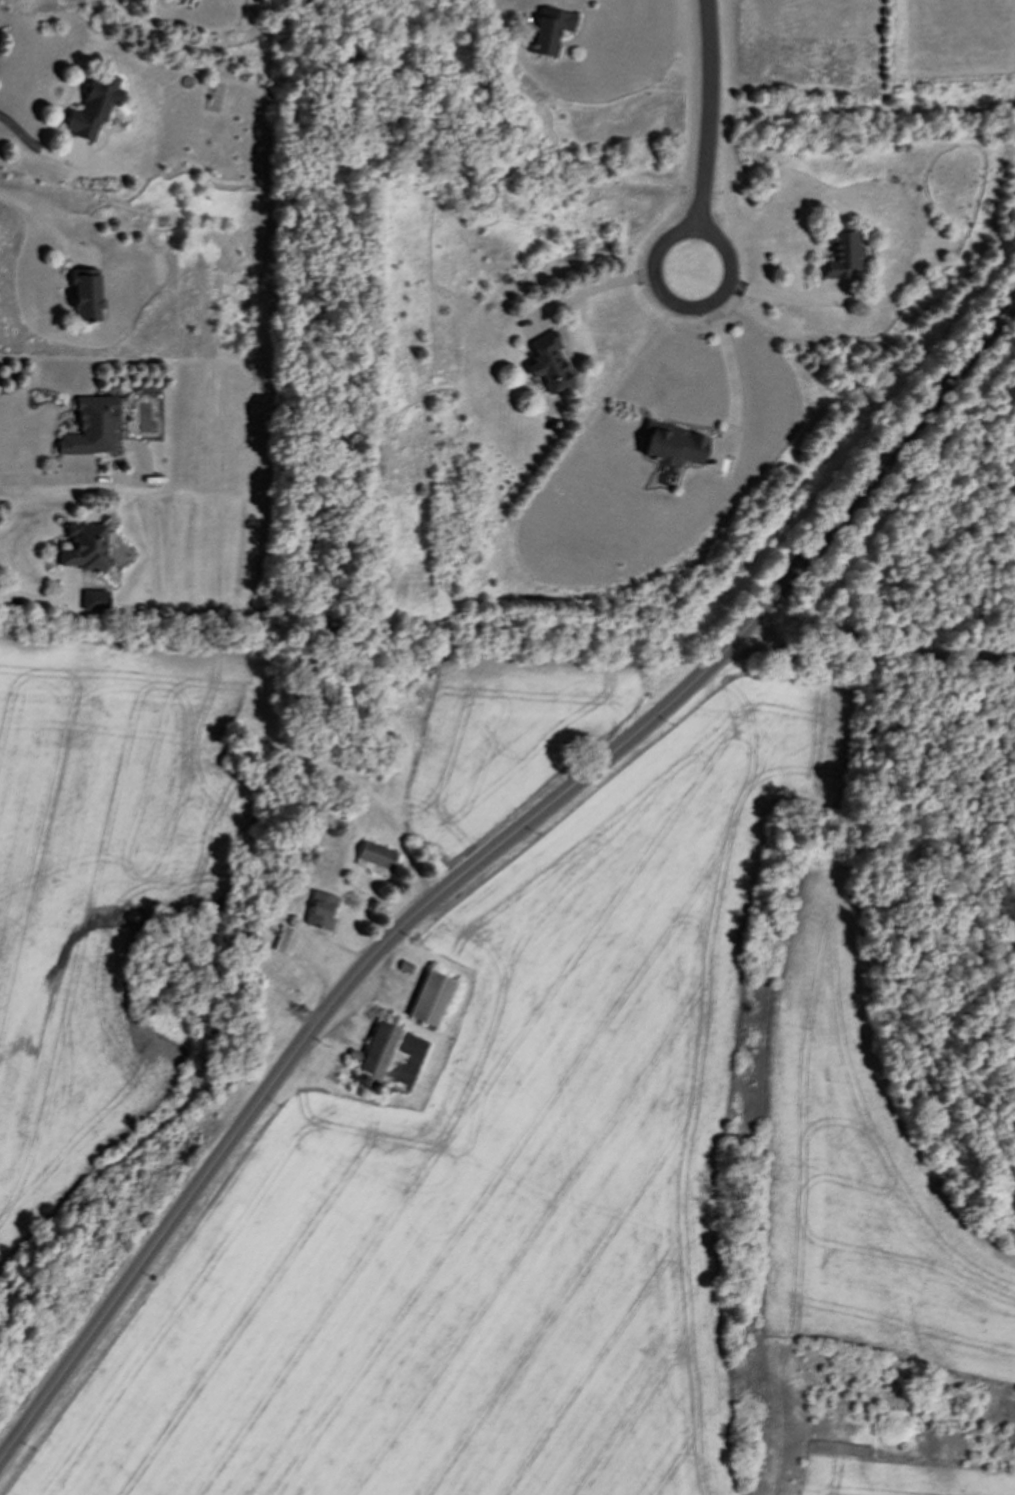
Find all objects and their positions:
building: (549, 31)
building: (93, 107)
road: (23, 134)
road: (708, 135)
road: (39, 217)
building: (843, 256)
road: (609, 282)
road: (761, 292)
building: (86, 294)
road: (725, 345)
building: (548, 363)
building: (92, 427)
building: (674, 444)
road: (43, 478)
building: (85, 547)
building: (95, 599)
road: (40, 601)
road: (871, 657)
building: (375, 858)
road: (482, 859)
building: (320, 910)
building: (289, 943)
building: (431, 998)
crop: (587, 1160)

